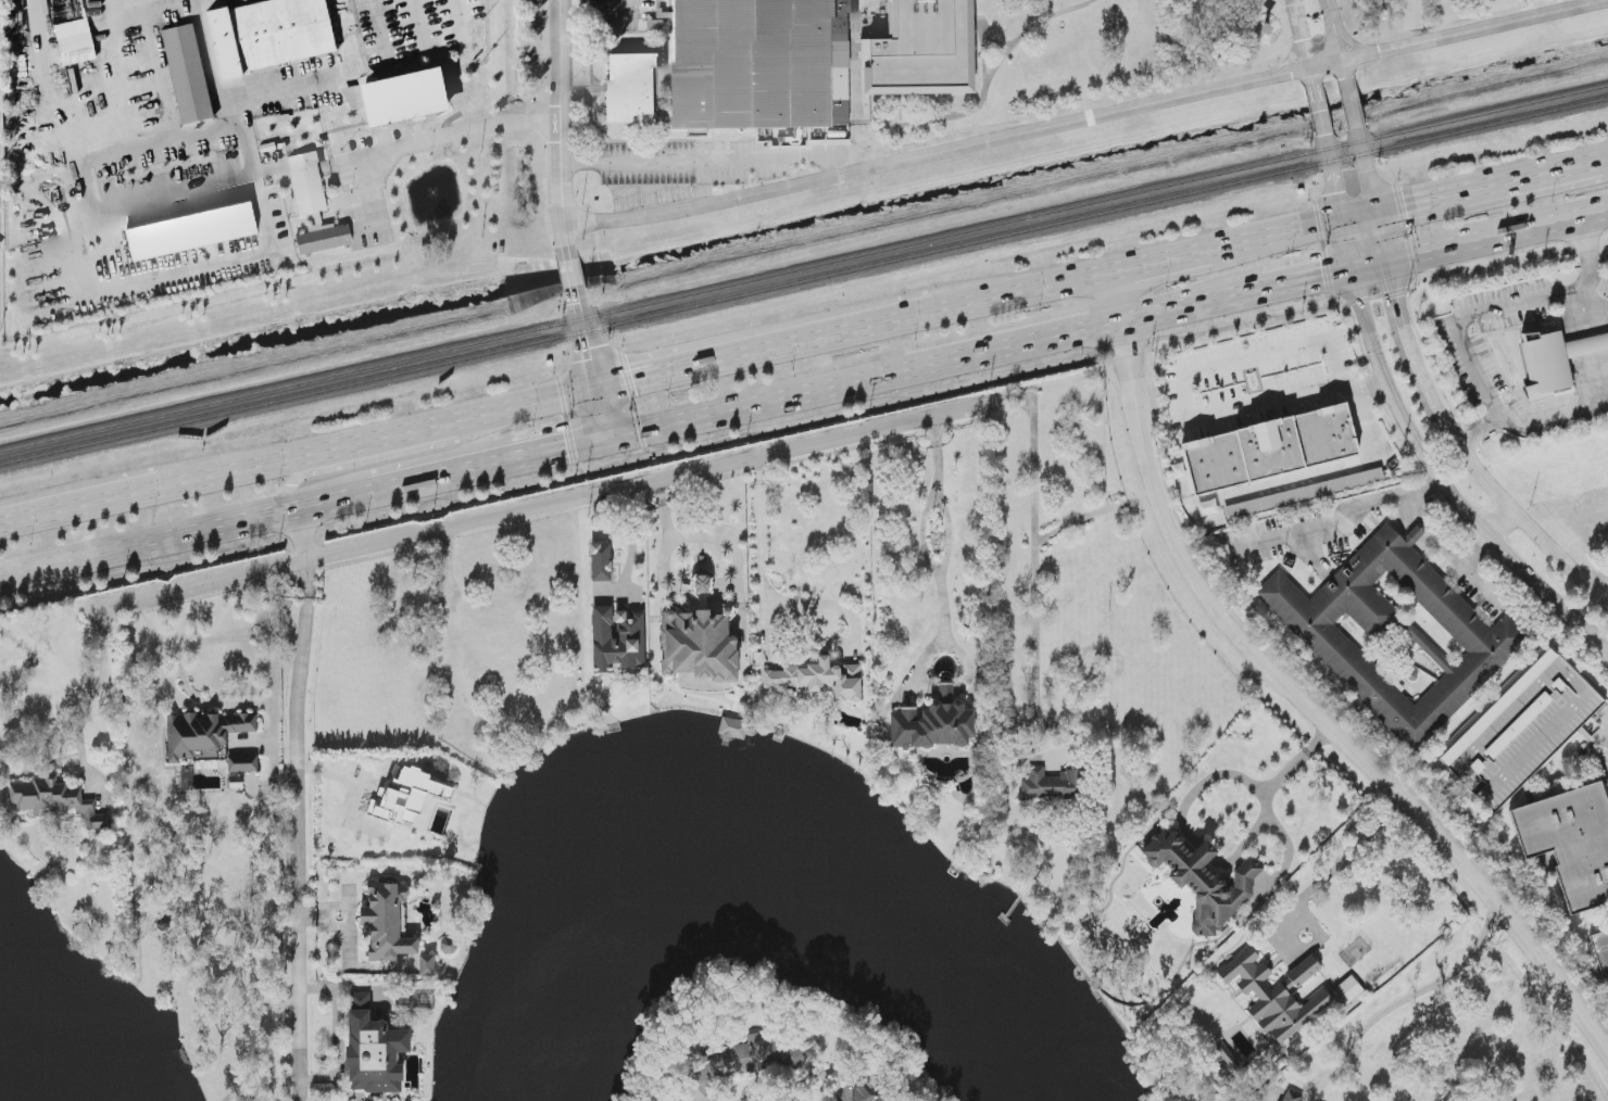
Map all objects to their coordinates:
parking lot: (618, 11)
road: (456, 16)
road: (417, 21)
road: (376, 31)
road: (1474, 31)
building: (267, 33)
road: (988, 34)
road: (1336, 37)
building: (73, 40)
road: (1303, 40)
building: (924, 51)
road: (984, 60)
road: (856, 61)
building: (759, 64)
building: (185, 72)
road: (226, 80)
road: (657, 88)
building: (630, 89)
building: (395, 96)
road: (1352, 101)
road: (79, 105)
road: (1318, 109)
road: (910, 122)
road: (557, 125)
road: (427, 137)
road: (864, 145)
road: (952, 151)
road: (1605, 155)
road: (715, 160)
parking lot: (694, 166)
road: (1367, 168)
road: (1334, 175)
road: (1490, 181)
traffic signals: (1337, 192)
road: (174, 197)
traffic signals: (1405, 201)
building: (314, 205)
road: (1359, 211)
road: (1277, 230)
building: (192, 232)
road: (1383, 236)
road: (1498, 239)
road: (1348, 243)
road: (241, 253)
road: (1166, 256)
road: (1372, 267)
railway: (803, 270)
road: (568, 271)
traffic signals: (1322, 279)
road: (1419, 281)
railway: (804, 283)
road: (1297, 283)
traffic signals: (1398, 298)
road: (1556, 300)
road: (1183, 311)
road: (858, 328)
road: (1406, 332)
road: (588, 340)
road: (1596, 343)
road: (1016, 345)
building: (1555, 360)
road: (1475, 371)
traffic signals: (599, 389)
road: (1292, 392)
road: (757, 403)
road: (527, 405)
road: (603, 413)
road: (1550, 429)
road: (416, 430)
road: (1477, 430)
road: (764, 434)
traffic signals: (608, 438)
building: (1270, 450)
road: (1033, 455)
road: (269, 464)
road: (319, 465)
road: (490, 466)
road: (1335, 470)
road: (1445, 484)
building: (1304, 494)
road: (550, 506)
road: (81, 507)
building: (1208, 508)
road: (1511, 509)
road: (1503, 526)
road: (1335, 527)
road: (938, 533)
road: (185, 536)
road: (666, 541)
road: (1450, 553)
road: (1478, 553)
road: (738, 555)
road: (1311, 556)
building: (601, 562)
road: (1596, 580)
road: (1034, 582)
building: (1396, 635)
building: (701, 640)
building: (617, 641)
road: (775, 649)
road: (272, 657)
road: (179, 667)
building: (820, 680)
road: (97, 681)
road: (1295, 696)
building: (933, 724)
road: (1599, 727)
building: (732, 729)
building: (204, 735)
building: (243, 764)
road: (1203, 784)
building: (1051, 786)
building: (406, 798)
road: (1267, 799)
building: (53, 801)
road: (297, 805)
building: (1570, 841)
road: (1354, 851)
road: (1205, 853)
building: (1203, 879)
building: (1264, 885)
building: (388, 923)
building: (449, 947)
building: (1601, 950)
building: (427, 965)
building: (1347, 991)
building: (1276, 995)
road: (1405, 1000)
road: (337, 1035)
building: (374, 1051)
building: (757, 1056)
building: (1226, 1062)
building: (1447, 1090)
building: (868, 1091)
building: (1292, 1097)

